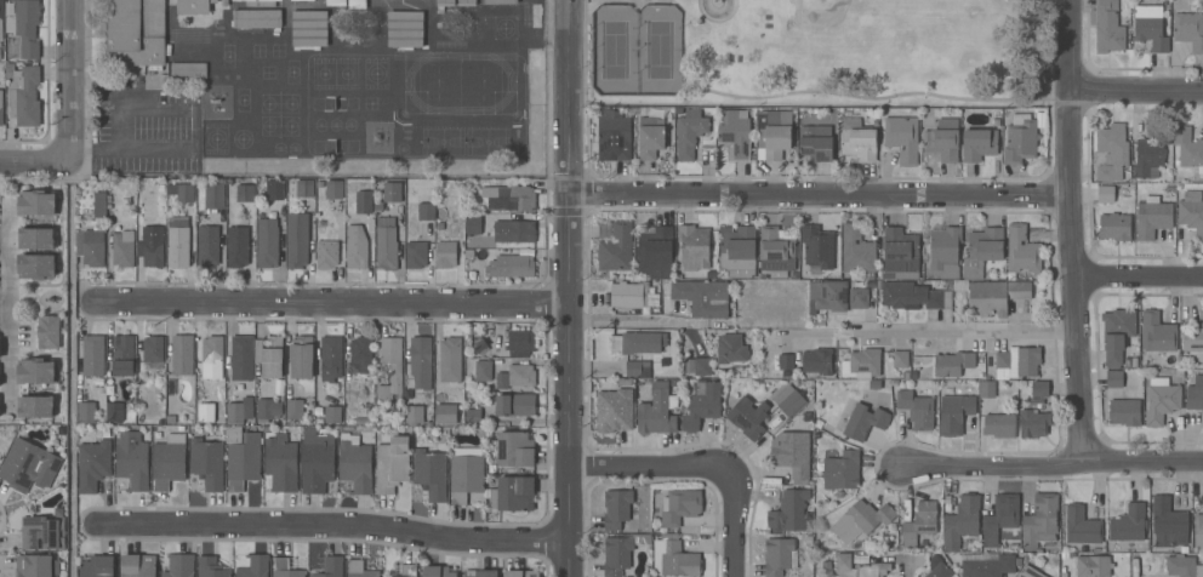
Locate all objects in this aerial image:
building: (301, 0)
building: (500, 1)
building: (261, 2)
building: (336, 2)
building: (466, 2)
building: (444, 4)
building: (357, 5)
building: (1, 17)
building: (256, 18)
building: (10, 24)
building: (27, 27)
building: (1107, 27)
building: (1150, 28)
building: (147, 29)
building: (309, 29)
building: (405, 29)
building: (1188, 30)
building: (1, 50)
park: (635, 50)
park: (817, 53)
building: (10, 70)
building: (188, 70)
road: (65, 79)
road: (816, 91)
road: (1136, 91)
building: (24, 97)
building: (1, 108)
building: (929, 113)
road: (118, 118)
building: (688, 132)
building: (734, 133)
building: (772, 135)
building: (612, 136)
building: (650, 137)
building: (902, 138)
building: (941, 138)
building: (857, 139)
building: (1020, 139)
building: (815, 143)
building: (979, 144)
building: (1187, 149)
building: (1111, 152)
building: (1151, 154)
road: (32, 158)
building: (303, 188)
building: (333, 189)
building: (274, 190)
building: (181, 192)
building: (245, 193)
building: (392, 193)
building: (1105, 194)
building: (359, 195)
building: (215, 196)
building: (509, 198)
road: (820, 199)
building: (36, 202)
building: (101, 202)
building: (377, 206)
building: (426, 212)
building: (1191, 212)
building: (381, 213)
building: (1151, 217)
building: (473, 224)
building: (1114, 227)
road: (1074, 230)
building: (514, 232)
road: (4, 238)
building: (35, 238)
building: (297, 240)
building: (177, 241)
building: (267, 242)
building: (386, 244)
building: (207, 246)
building: (236, 246)
building: (358, 246)
building: (614, 246)
building: (694, 246)
building: (817, 246)
building: (90, 247)
building: (122, 248)
building: (152, 248)
building: (776, 248)
building: (654, 251)
building: (856, 251)
building: (945, 251)
building: (982, 251)
building: (1021, 251)
building: (415, 252)
building: (737, 252)
building: (326, 253)
building: (445, 255)
building: (900, 255)
building: (36, 265)
building: (511, 265)
road: (1140, 278)
building: (960, 286)
road: (570, 287)
building: (628, 293)
building: (862, 295)
building: (827, 296)
building: (910, 296)
building: (996, 296)
building: (702, 297)
road: (335, 305)
road: (8, 308)
road: (4, 309)
road: (620, 320)
building: (47, 331)
road: (928, 331)
building: (1157, 333)
building: (1116, 335)
building: (1193, 341)
building: (635, 342)
building: (519, 343)
building: (477, 345)
building: (153, 349)
building: (212, 349)
building: (730, 349)
building: (182, 354)
building: (361, 354)
building: (92, 355)
building: (122, 355)
building: (269, 355)
building: (301, 356)
building: (241, 358)
building: (329, 358)
building: (447, 359)
building: (900, 359)
building: (420, 361)
building: (785, 361)
building: (816, 362)
building: (1017, 362)
building: (952, 364)
building: (861, 365)
building: (699, 366)
road: (68, 367)
building: (390, 367)
building: (633, 367)
building: (483, 370)
building: (36, 371)
building: (645, 372)
building: (520, 375)
building: (1113, 378)
building: (501, 382)
building: (623, 382)
building: (873, 385)
building: (211, 388)
building: (986, 389)
building: (1039, 389)
building: (1195, 392)
building: (788, 400)
building: (1161, 400)
building: (515, 405)
building: (701, 405)
building: (35, 406)
building: (295, 409)
building: (267, 410)
building: (657, 410)
building: (916, 410)
building: (114, 411)
building: (614, 411)
building: (86, 412)
building: (239, 412)
building: (1124, 412)
building: (332, 413)
building: (449, 413)
building: (414, 415)
building: (954, 415)
building: (383, 416)
building: (473, 417)
building: (748, 417)
building: (171, 419)
building: (361, 421)
building: (863, 422)
building: (1033, 423)
building: (999, 425)
building: (234, 435)
building: (514, 449)
building: (793, 456)
building: (132, 461)
building: (169, 461)
building: (243, 461)
building: (317, 461)
building: (390, 462)
building: (207, 463)
building: (280, 463)
building: (354, 463)
road: (709, 463)
building: (28, 465)
building: (92, 465)
road: (1051, 467)
building: (842, 470)
building: (431, 474)
building: (464, 474)
building: (770, 480)
building: (511, 493)
building: (679, 507)
building: (626, 509)
building: (788, 512)
building: (999, 519)
building: (861, 520)
building: (962, 521)
building: (1039, 521)
building: (1167, 521)
building: (919, 522)
road: (336, 524)
building: (1128, 524)
building: (1081, 526)
building: (1198, 530)
building: (42, 532)
building: (616, 555)
building: (779, 555)
building: (673, 558)
building: (843, 561)
building: (179, 565)
building: (987, 565)
building: (35, 566)
building: (97, 566)
building: (138, 566)
building: (255, 566)
building: (937, 566)
building: (1093, 566)
building: (1182, 566)
building: (210, 567)
building: (330, 567)
road: (903, 567)
building: (285, 569)
building: (359, 570)
building: (873, 570)
building: (409, 571)
building: (438, 571)
building: (1028, 572)
building: (483, 573)
building: (521, 573)
building: (394, 576)
building: (920, 576)

